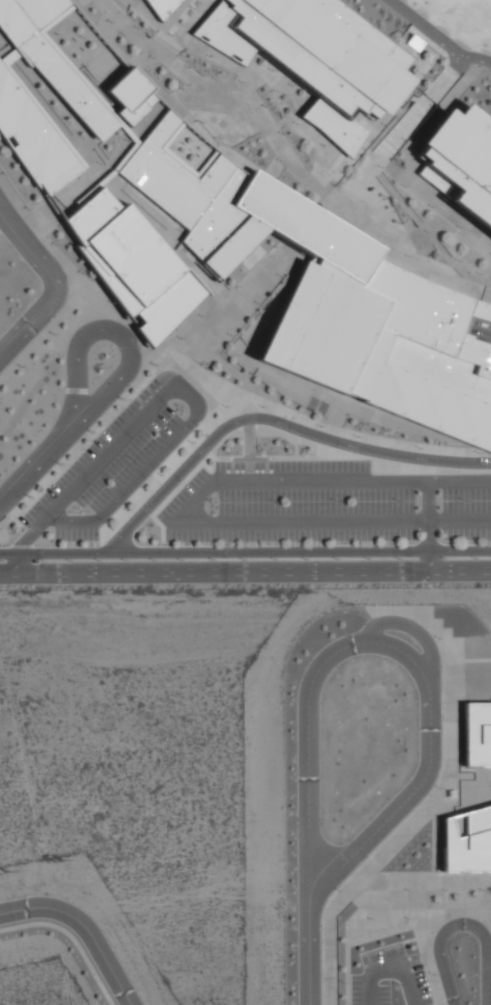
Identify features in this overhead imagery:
building: (160, 7)
road: (438, 38)
building: (324, 56)
building: (466, 157)
building: (247, 213)
building: (134, 265)
road: (52, 282)
road: (120, 334)
road: (195, 402)
road: (272, 421)
parking lot: (118, 459)
parking lot: (324, 504)
road: (428, 515)
road: (183, 517)
road: (32, 535)
road: (245, 552)
road: (429, 561)
road: (14, 565)
road: (245, 572)
road: (422, 634)
road: (323, 661)
building: (475, 732)
building: (466, 839)
road: (361, 845)
power tower: (58, 862)
road: (461, 923)
road: (84, 926)
road: (309, 952)
road: (389, 967)
parking lot: (389, 976)

